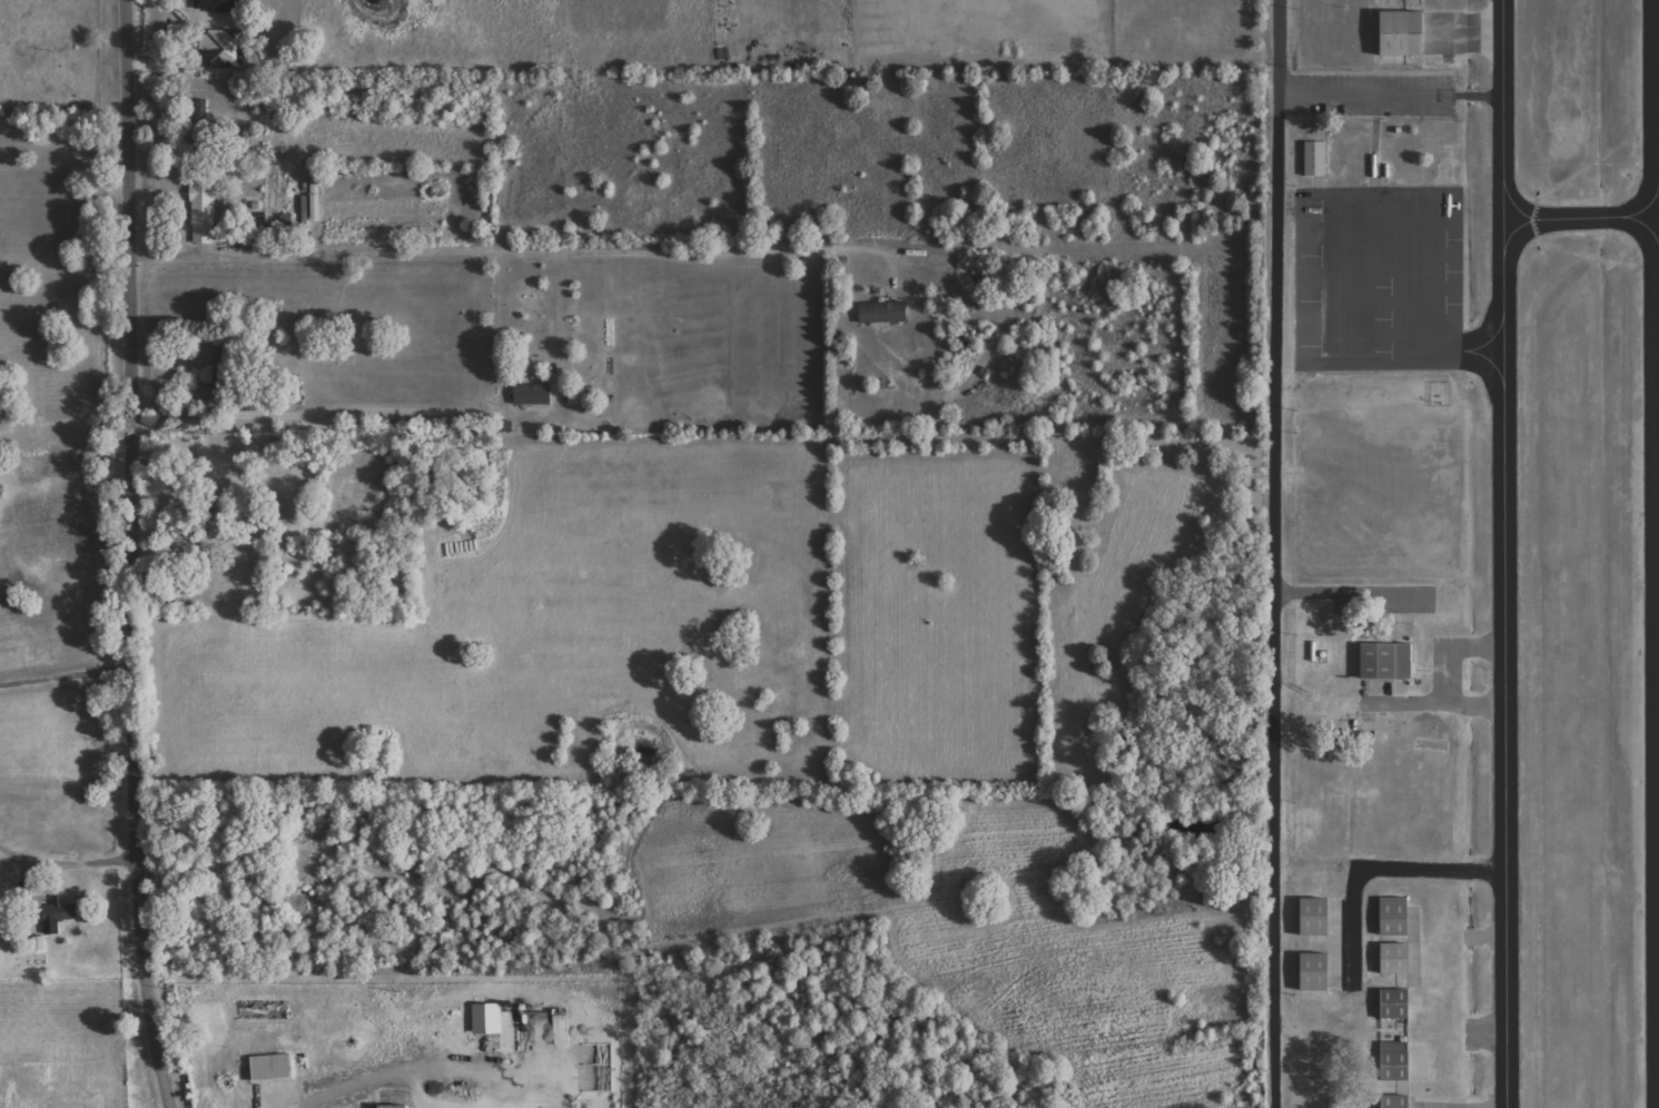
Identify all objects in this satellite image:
building: (1404, 34)
building: (1316, 159)
building: (317, 201)
building: (206, 214)
airport taxiway: (1561, 217)
road: (480, 253)
airport apron: (1377, 278)
building: (885, 313)
building: (220, 360)
building: (534, 395)
road: (1273, 553)
airport taxiway: (1503, 553)
road: (127, 555)
building: (1388, 662)
road: (65, 680)
building: (59, 913)
building: (1394, 917)
building: (1317, 918)
building: (39, 943)
building: (1396, 959)
building: (1316, 972)
building: (1395, 1005)
building: (488, 1018)
building: (1395, 1062)
building: (274, 1067)
building: (1396, 1101)
building: (395, 1106)

